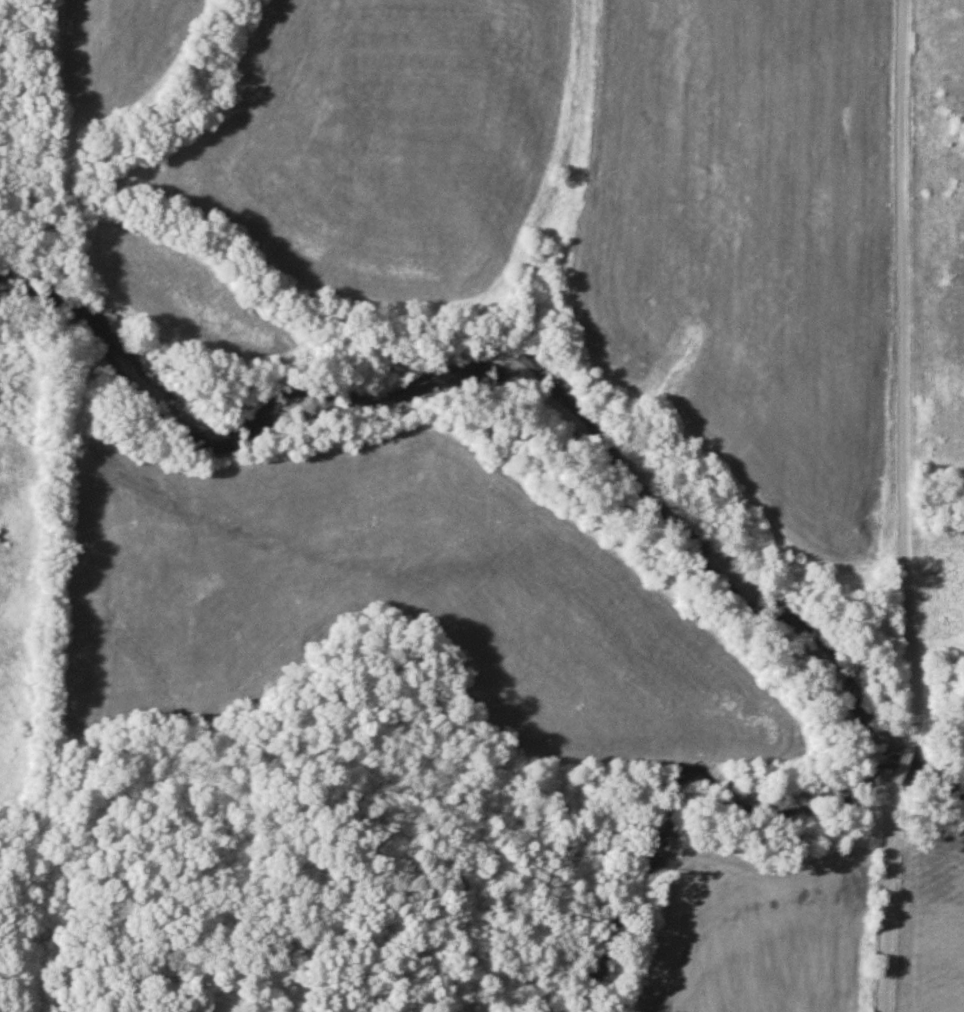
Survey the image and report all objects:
river: (538, 373)
road: (902, 377)
road: (903, 767)
road: (887, 896)

